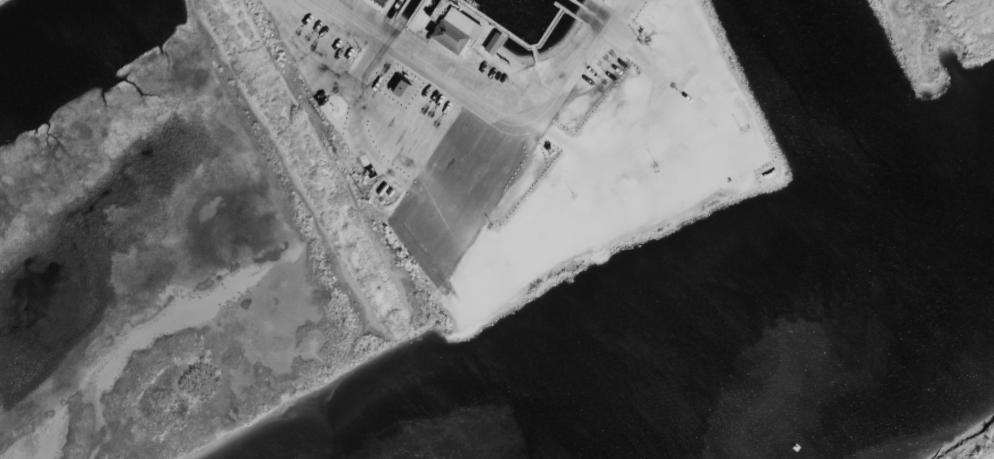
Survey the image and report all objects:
building: (447, 31)
building: (489, 44)
building: (394, 87)
road: (482, 111)

